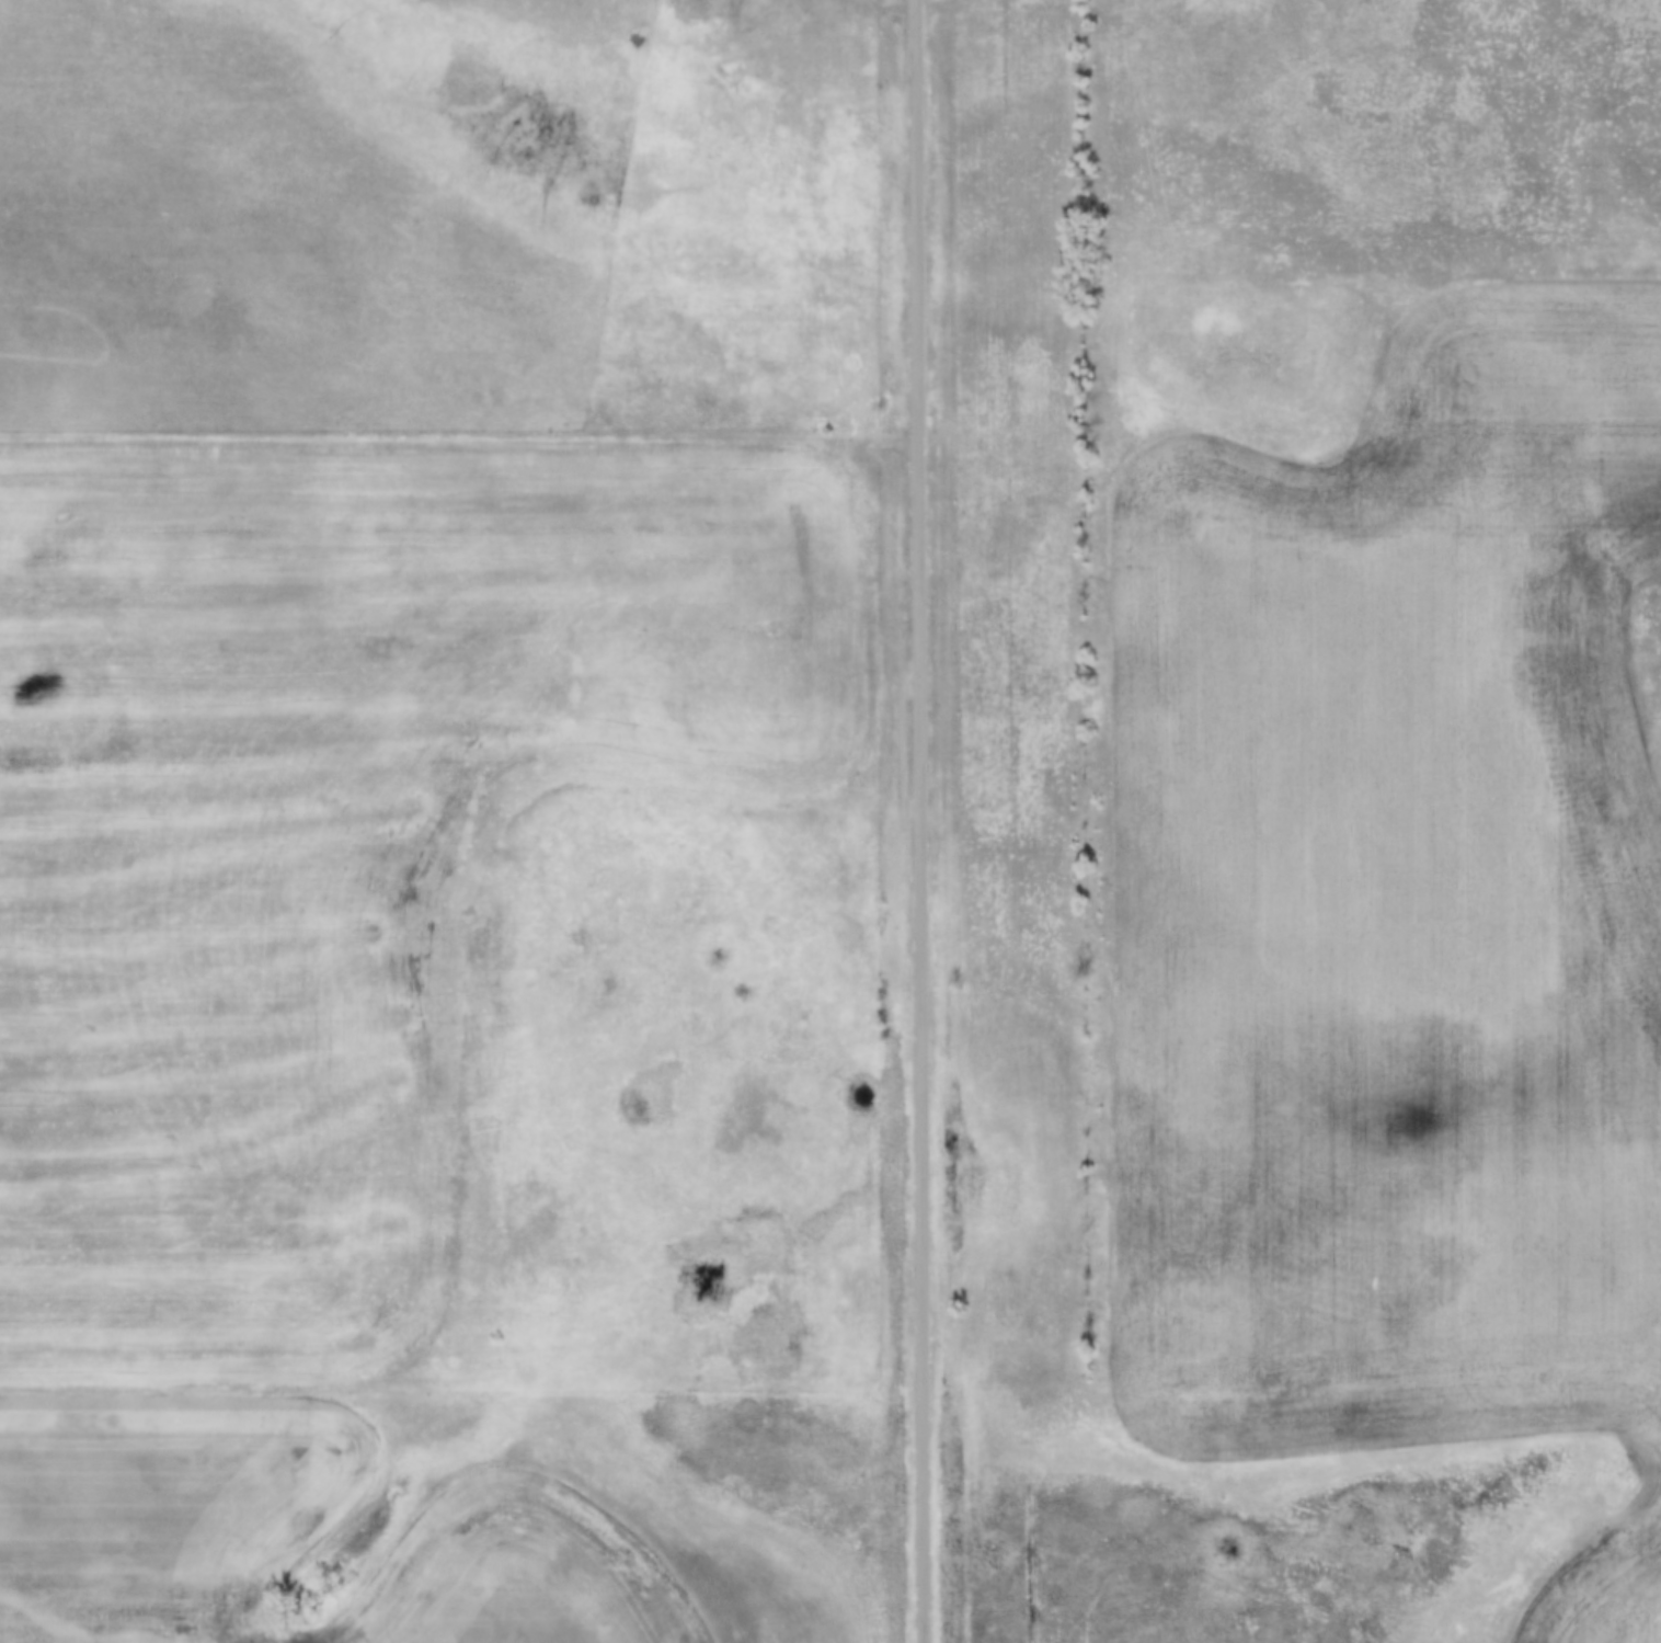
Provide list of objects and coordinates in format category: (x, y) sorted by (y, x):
road: (1035, 8)
road: (920, 821)

